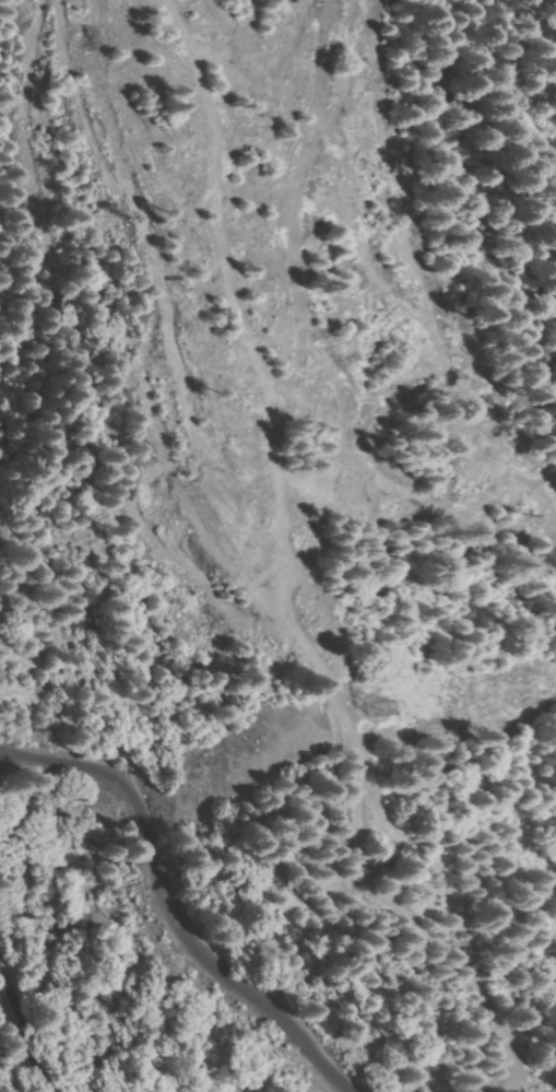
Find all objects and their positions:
power tower: (371, 712)
road: (178, 903)

